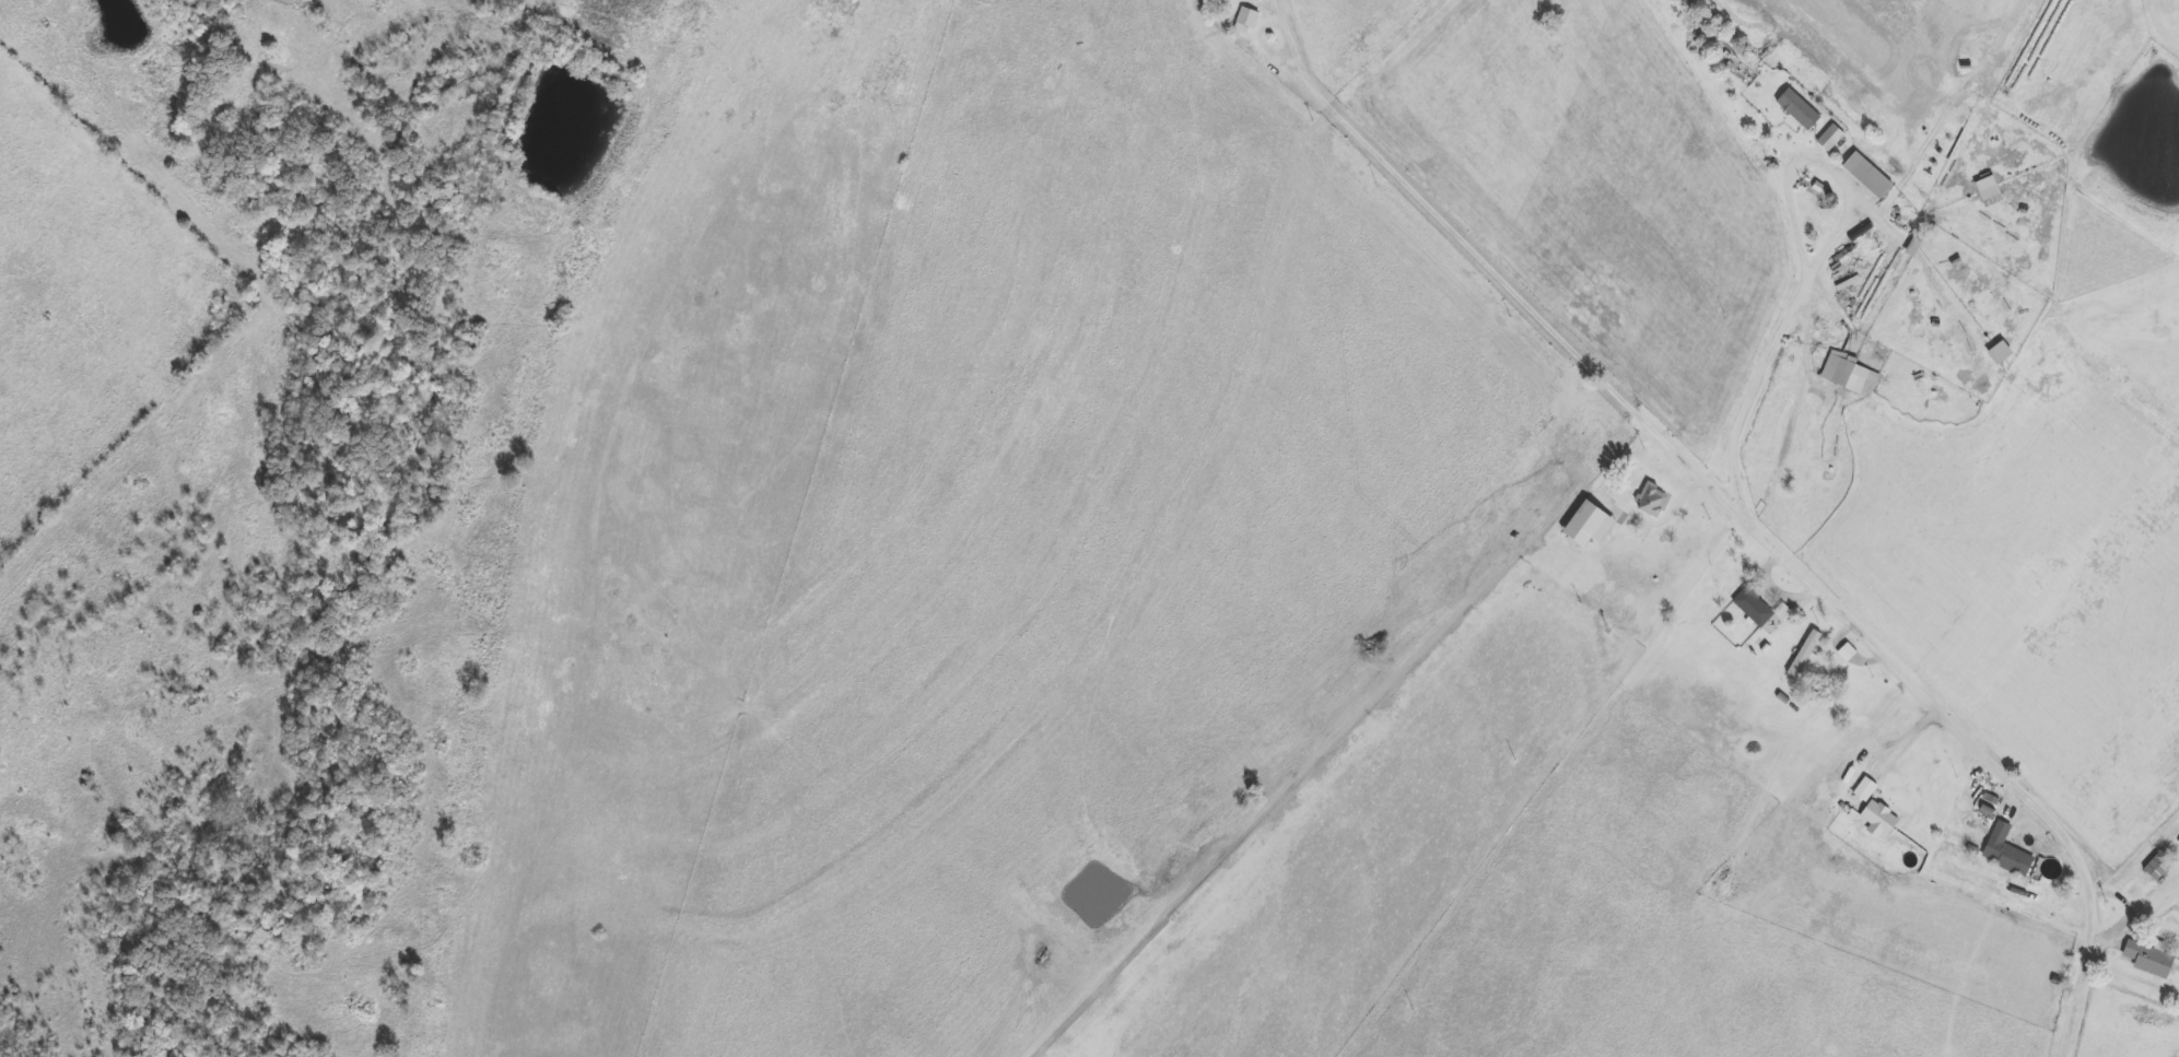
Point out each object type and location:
road: (1285, 15)
building: (1245, 19)
building: (1797, 108)
building: (1829, 137)
building: (1866, 175)
building: (1987, 188)
road: (1817, 267)
building: (2000, 352)
building: (1849, 374)
building: (1651, 498)
building: (1597, 504)
road: (1745, 521)
building: (1753, 607)
building: (1804, 653)
building: (1828, 676)
building: (1877, 819)
building: (2005, 852)
building: (2156, 866)
building: (2147, 959)

